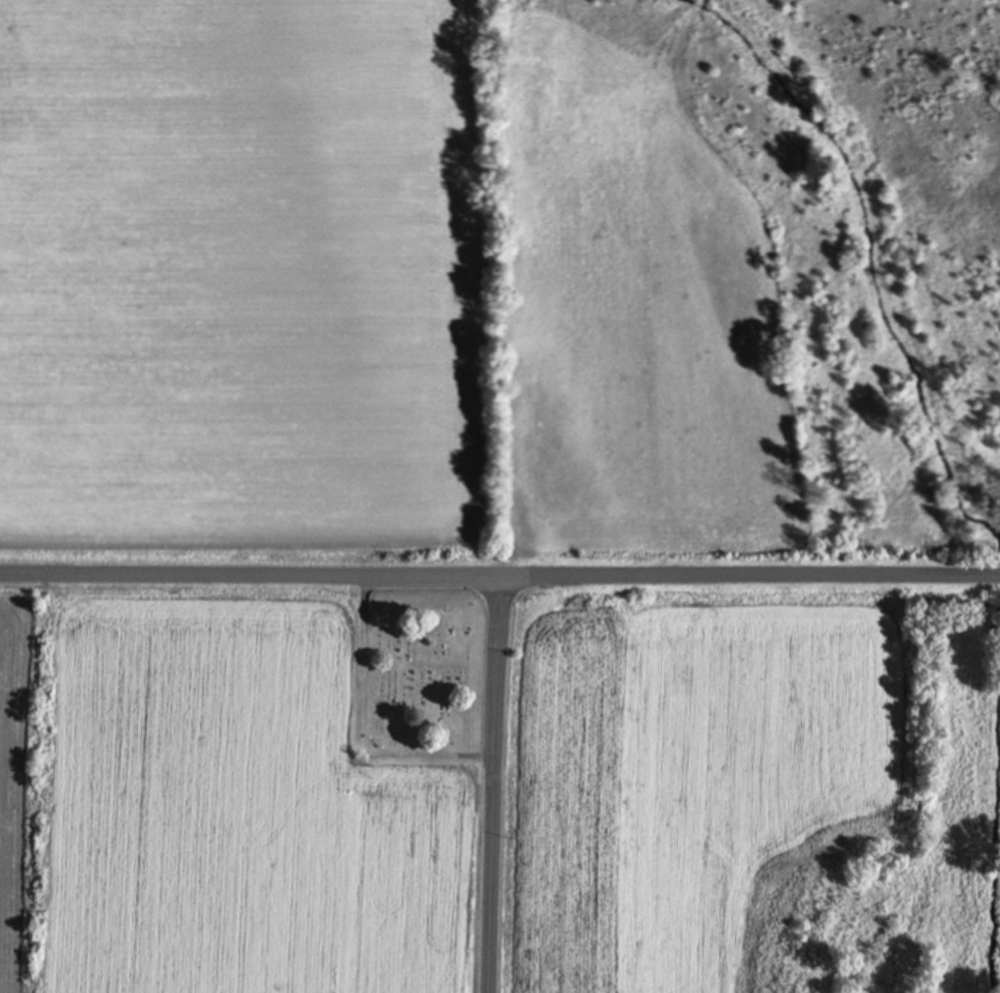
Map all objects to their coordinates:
road: (500, 573)
park: (415, 672)
road: (489, 783)

